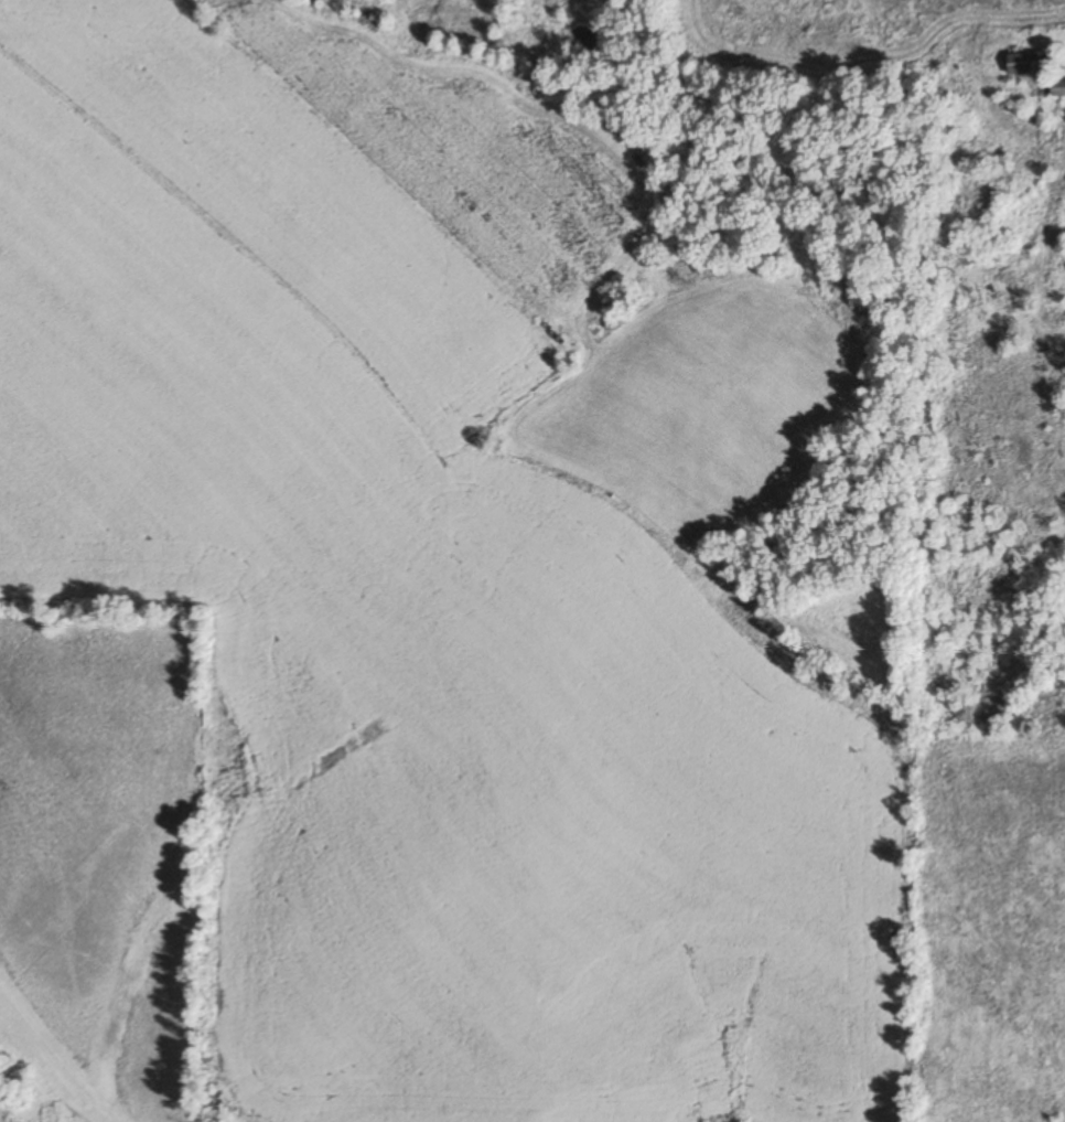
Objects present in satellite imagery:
building: (1033, 62)
building: (1059, 86)

